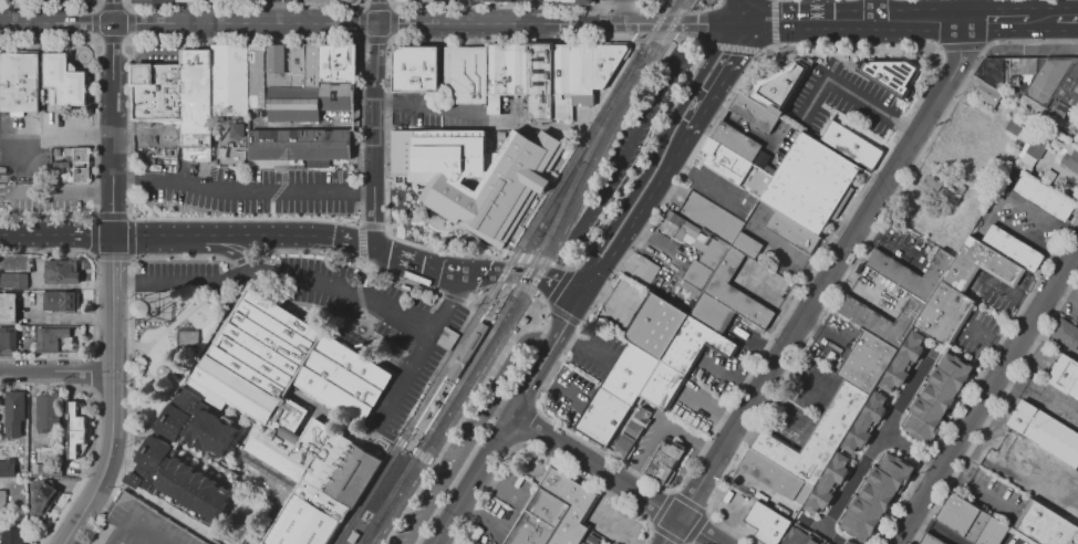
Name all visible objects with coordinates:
building: (194, 0)
building: (221, 0)
building: (253, 0)
parking lot: (289, 0)
building: (398, 0)
building: (499, 0)
building: (156, 1)
building: (331, 1)
building: (422, 1)
building: (470, 1)
building: (566, 1)
road: (49, 2)
road: (99, 3)
road: (362, 3)
road: (594, 4)
road: (363, 6)
road: (502, 6)
road: (875, 8)
road: (968, 8)
road: (113, 11)
road: (281, 11)
road: (375, 12)
road: (739, 12)
road: (619, 13)
road: (1038, 15)
road: (1066, 15)
road: (854, 17)
road: (996, 17)
traffic signals: (823, 18)
road: (601, 22)
road: (55, 23)
road: (774, 24)
road: (401, 25)
railway: (656, 25)
road: (716, 25)
traffic signals: (630, 28)
road: (653, 33)
road: (124, 38)
road: (729, 48)
road: (961, 48)
building: (329, 63)
building: (348, 63)
building: (298, 64)
building: (314, 65)
building: (278, 66)
building: (410, 69)
building: (501, 70)
road: (691, 70)
building: (1018, 70)
road: (384, 72)
building: (993, 72)
building: (888, 73)
building: (577, 74)
building: (460, 75)
building: (259, 76)
building: (66, 80)
building: (231, 80)
road: (721, 80)
building: (1045, 80)
building: (535, 81)
building: (20, 83)
building: (1068, 86)
building: (154, 92)
road: (848, 92)
building: (766, 95)
building: (339, 96)
building: (984, 96)
parking lot: (841, 98)
building: (195, 100)
building: (296, 104)
road: (427, 107)
parking lot: (428, 113)
road: (743, 127)
road: (898, 132)
road: (55, 134)
building: (231, 135)
road: (374, 136)
building: (735, 140)
building: (1077, 140)
parking lot: (631, 142)
building: (1038, 143)
building: (850, 145)
building: (303, 146)
road: (620, 153)
road: (654, 155)
building: (77, 156)
building: (1066, 158)
building: (734, 166)
road: (93, 172)
building: (81, 175)
building: (471, 177)
road: (702, 180)
railway: (571, 184)
building: (811, 184)
building: (927, 186)
parking lot: (246, 190)
road: (60, 191)
road: (242, 192)
building: (1040, 197)
parking lot: (44, 199)
road: (612, 208)
road: (636, 215)
road: (128, 219)
road: (247, 219)
building: (673, 227)
road: (360, 230)
building: (788, 232)
road: (27, 234)
road: (207, 234)
road: (82, 236)
road: (338, 241)
building: (743, 245)
road: (215, 247)
building: (1010, 249)
road: (182, 255)
road: (241, 259)
road: (350, 259)
road: (507, 259)
road: (521, 260)
road: (853, 260)
road: (537, 262)
building: (702, 264)
building: (977, 265)
road: (454, 270)
road: (569, 270)
building: (643, 270)
building: (62, 271)
building: (908, 273)
railway: (537, 276)
road: (545, 278)
road: (276, 279)
building: (13, 280)
road: (822, 283)
road: (507, 285)
road: (491, 286)
road: (524, 286)
road: (566, 286)
road: (115, 291)
parking lot: (308, 291)
building: (732, 292)
road: (357, 293)
road: (770, 295)
road: (1065, 295)
road: (469, 296)
road: (450, 297)
railway: (488, 297)
building: (59, 301)
road: (498, 301)
road: (547, 303)
road: (546, 305)
road: (93, 306)
building: (9, 307)
water tower: (157, 307)
building: (707, 314)
road: (567, 315)
building: (940, 315)
road: (68, 317)
building: (524, 320)
building: (879, 320)
road: (172, 324)
building: (650, 327)
building: (1064, 335)
building: (8, 338)
building: (50, 338)
building: (187, 341)
building: (688, 346)
building: (1077, 348)
road: (419, 349)
building: (467, 349)
building: (863, 363)
road: (59, 375)
building: (624, 375)
road: (728, 375)
road: (976, 377)
building: (1064, 378)
railway: (460, 380)
building: (659, 389)
road: (985, 394)
building: (932, 398)
road: (159, 402)
road: (126, 406)
road: (994, 408)
road: (466, 409)
road: (497, 410)
road: (708, 410)
building: (48, 411)
building: (14, 412)
building: (299, 414)
building: (597, 418)
building: (863, 423)
road: (528, 425)
building: (183, 429)
road: (473, 429)
building: (75, 431)
road: (385, 432)
railway: (424, 432)
building: (629, 433)
building: (1043, 436)
road: (413, 438)
building: (811, 438)
road: (398, 440)
road: (491, 440)
road: (875, 440)
road: (407, 446)
road: (909, 451)
road: (421, 454)
road: (543, 454)
road: (432, 461)
building: (661, 462)
building: (8, 468)
building: (44, 470)
parking lot: (439, 477)
building: (771, 478)
building: (142, 479)
road: (612, 480)
building: (196, 489)
road: (671, 490)
railway: (390, 495)
building: (42, 496)
building: (872, 498)
building: (2, 502)
road: (99, 503)
building: (556, 512)
building: (967, 520)
building: (763, 524)
building: (1040, 524)
building: (138, 526)
parking lot: (138, 526)
road: (935, 526)
building: (230, 533)
building: (12, 536)
building: (352, 536)
building: (799, 536)
building: (925, 540)
road: (435, 542)
building: (843, 542)
park: (1076, 542)

